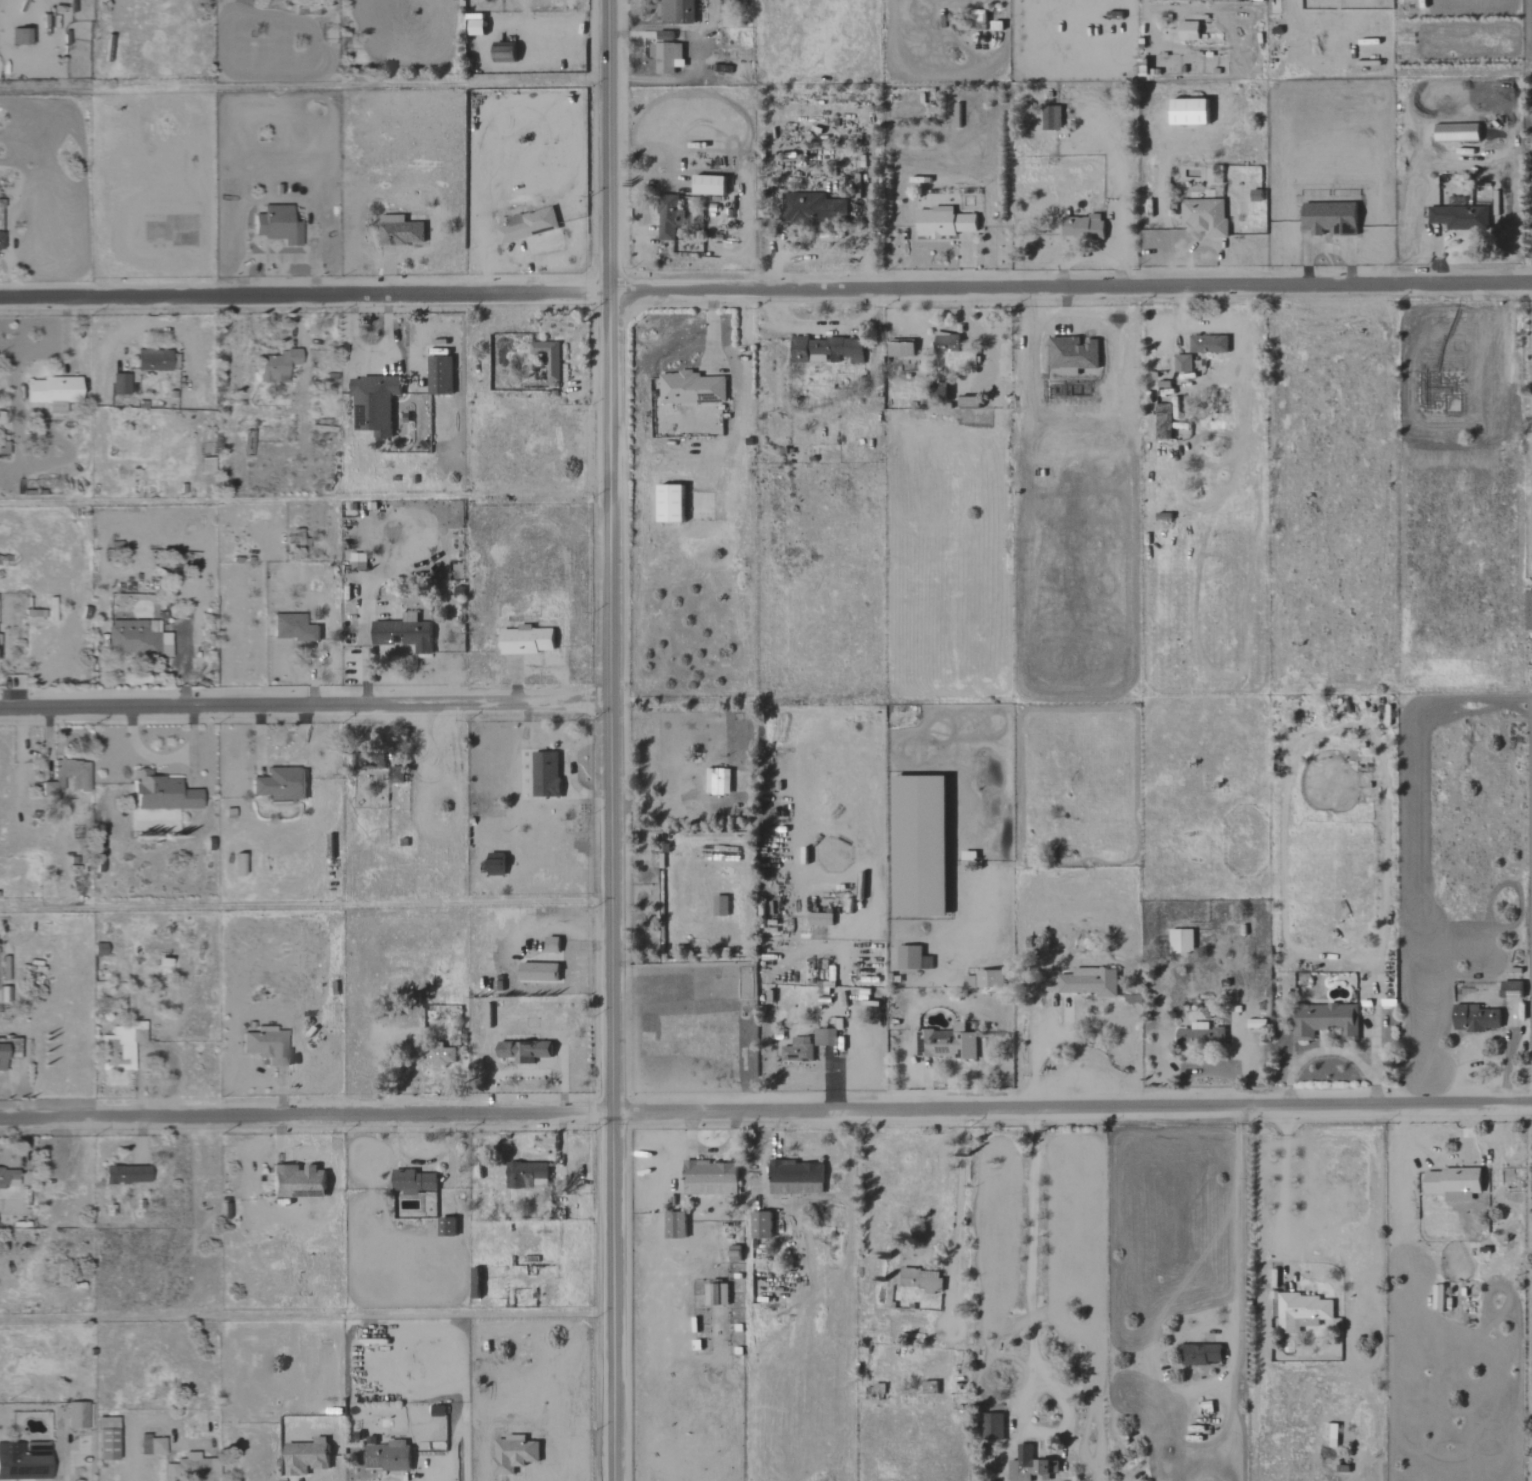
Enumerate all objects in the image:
building: (677, 11)
building: (474, 26)
building: (1187, 30)
building: (16, 36)
building: (502, 52)
building: (665, 56)
building: (1187, 111)
building: (1051, 121)
building: (707, 184)
building: (812, 207)
building: (1204, 216)
building: (1459, 217)
building: (1329, 218)
building: (668, 222)
building: (943, 223)
building: (276, 225)
building: (527, 225)
building: (1082, 227)
building: (399, 231)
building: (0, 240)
road: (1069, 285)
road: (303, 293)
building: (1208, 344)
building: (900, 349)
building: (825, 350)
building: (953, 353)
building: (1072, 354)
building: (547, 357)
building: (154, 360)
building: (1182, 363)
building: (275, 365)
building: (439, 375)
building: (119, 384)
building: (690, 388)
building: (50, 392)
building: (968, 401)
building: (373, 403)
building: (1163, 421)
building: (205, 465)
building: (668, 503)
building: (357, 561)
building: (1528, 610)
building: (292, 628)
building: (403, 633)
building: (136, 638)
building: (525, 640)
road: (303, 702)
road: (607, 740)
building: (393, 774)
building: (544, 774)
building: (67, 776)
building: (717, 781)
building: (280, 785)
building: (160, 793)
road: (735, 797)
building: (494, 864)
building: (720, 905)
building: (819, 918)
building: (1180, 940)
building: (551, 944)
building: (912, 957)
building: (537, 971)
building: (989, 977)
building: (1093, 981)
building: (1511, 989)
building: (1475, 1017)
building: (1324, 1019)
building: (1199, 1034)
building: (825, 1037)
building: (119, 1045)
building: (266, 1045)
building: (8, 1049)
building: (797, 1049)
building: (523, 1050)
road: (1327, 1051)
building: (439, 1055)
road: (1035, 1059)
road: (1072, 1108)
road: (306, 1115)
building: (124, 1174)
building: (525, 1175)
building: (709, 1177)
building: (795, 1177)
building: (8, 1178)
building: (296, 1181)
building: (412, 1181)
building: (1452, 1183)
road: (1287, 1190)
building: (674, 1224)
building: (760, 1224)
building: (445, 1226)
road: (1046, 1242)
road: (1234, 1251)
building: (733, 1253)
building: (922, 1278)
building: (715, 1294)
building: (1302, 1310)
building: (1201, 1354)
building: (436, 1409)
building: (75, 1415)
building: (992, 1426)
building: (1331, 1435)
building: (104, 1438)
building: (150, 1445)
building: (512, 1453)
building: (304, 1456)
building: (387, 1456)
building: (23, 1461)
building: (1030, 1462)
building: (195, 1466)

